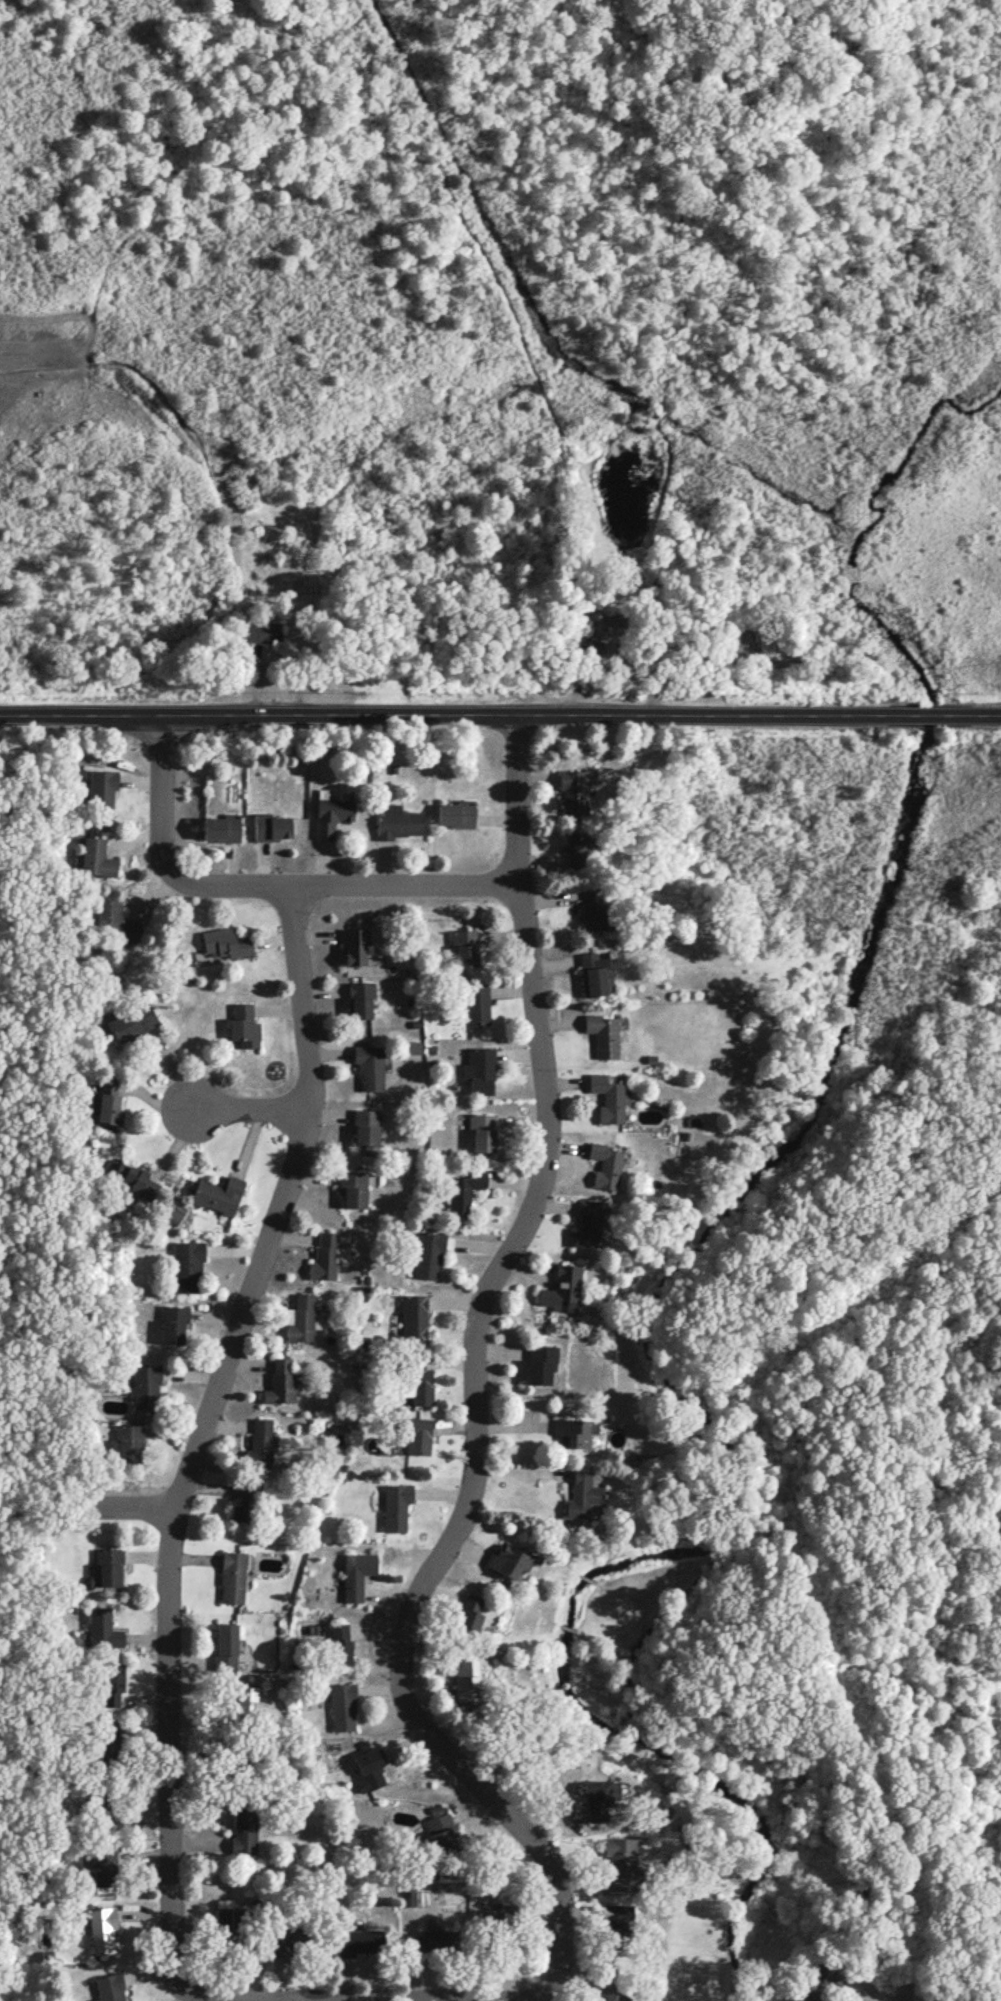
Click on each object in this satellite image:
building: (264, 631)
road: (614, 659)
road: (500, 713)
building: (102, 790)
building: (574, 791)
building: (332, 810)
building: (398, 822)
building: (272, 826)
building: (96, 857)
road: (260, 888)
building: (116, 922)
building: (226, 942)
building: (356, 945)
building: (465, 946)
building: (360, 998)
building: (478, 1003)
building: (131, 1021)
building: (244, 1025)
building: (603, 1035)
building: (413, 1046)
building: (370, 1067)
building: (479, 1070)
building: (609, 1097)
building: (108, 1101)
road: (250, 1107)
building: (367, 1130)
building: (482, 1131)
building: (605, 1164)
building: (131, 1178)
building: (353, 1188)
building: (463, 1192)
building: (218, 1194)
building: (586, 1224)
building: (429, 1254)
building: (326, 1256)
building: (187, 1265)
building: (562, 1288)
building: (302, 1318)
building: (414, 1318)
building: (174, 1323)
building: (541, 1363)
building: (281, 1381)
building: (419, 1381)
road: (474, 1384)
building: (146, 1385)
building: (575, 1431)
road: (200, 1433)
building: (418, 1435)
building: (129, 1442)
building: (260, 1443)
building: (582, 1494)
building: (242, 1500)
building: (396, 1505)
road: (111, 1506)
building: (508, 1560)
building: (108, 1568)
building: (357, 1573)
building: (232, 1576)
building: (470, 1611)
building: (104, 1628)
building: (340, 1643)
building: (226, 1646)
building: (464, 1677)
building: (112, 1683)
building: (241, 1697)
building: (343, 1706)
building: (110, 1741)
building: (370, 1768)
building: (599, 1797)
building: (244, 1830)
building: (441, 1833)
building: (621, 1864)
building: (104, 1868)
building: (409, 1897)
building: (498, 1917)
building: (616, 1921)
building: (230, 1922)
building: (102, 1929)
building: (287, 1940)
building: (358, 1941)
building: (432, 1942)
building: (110, 1987)
building: (610, 1991)
road: (200, 1997)
road: (494, 1999)

